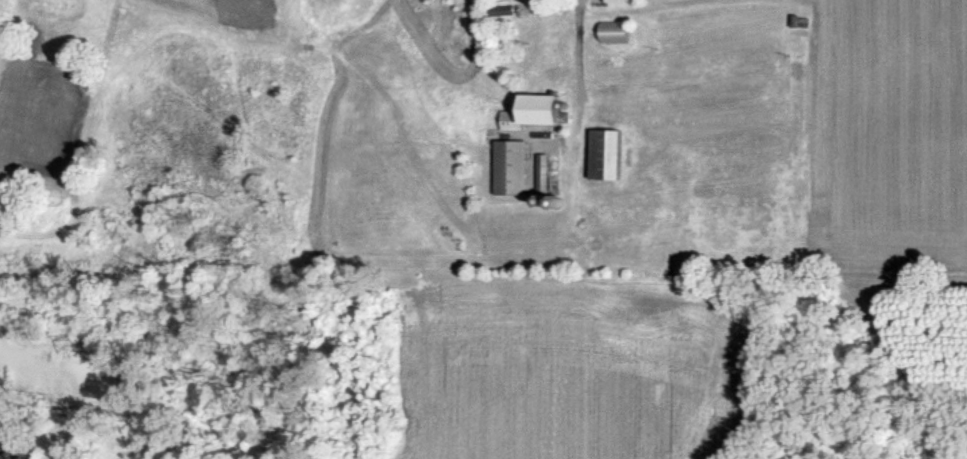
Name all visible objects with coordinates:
building: (621, 0)
building: (616, 30)
building: (535, 110)
building: (607, 153)
building: (513, 166)
building: (544, 172)

